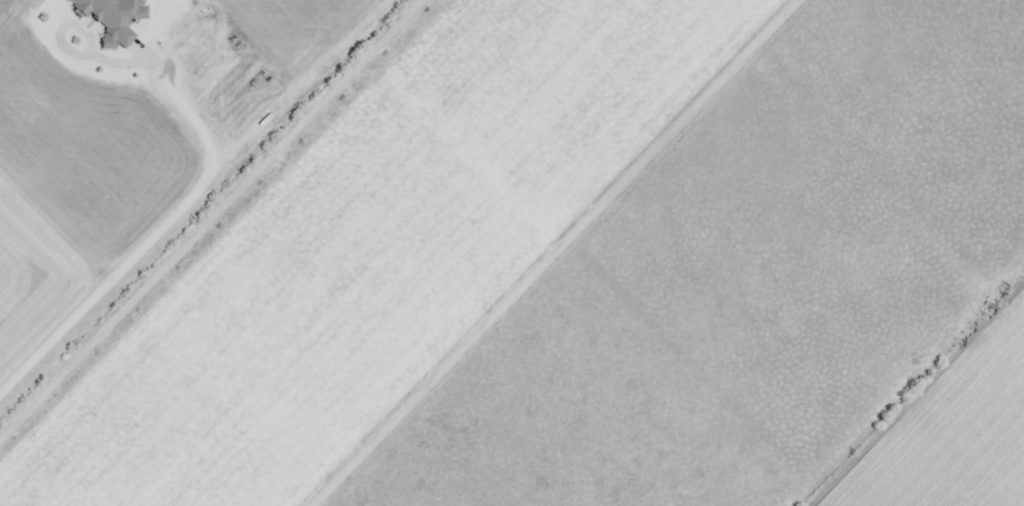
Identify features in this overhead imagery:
building: (112, 18)
road: (181, 211)
road: (217, 224)
road: (567, 253)

